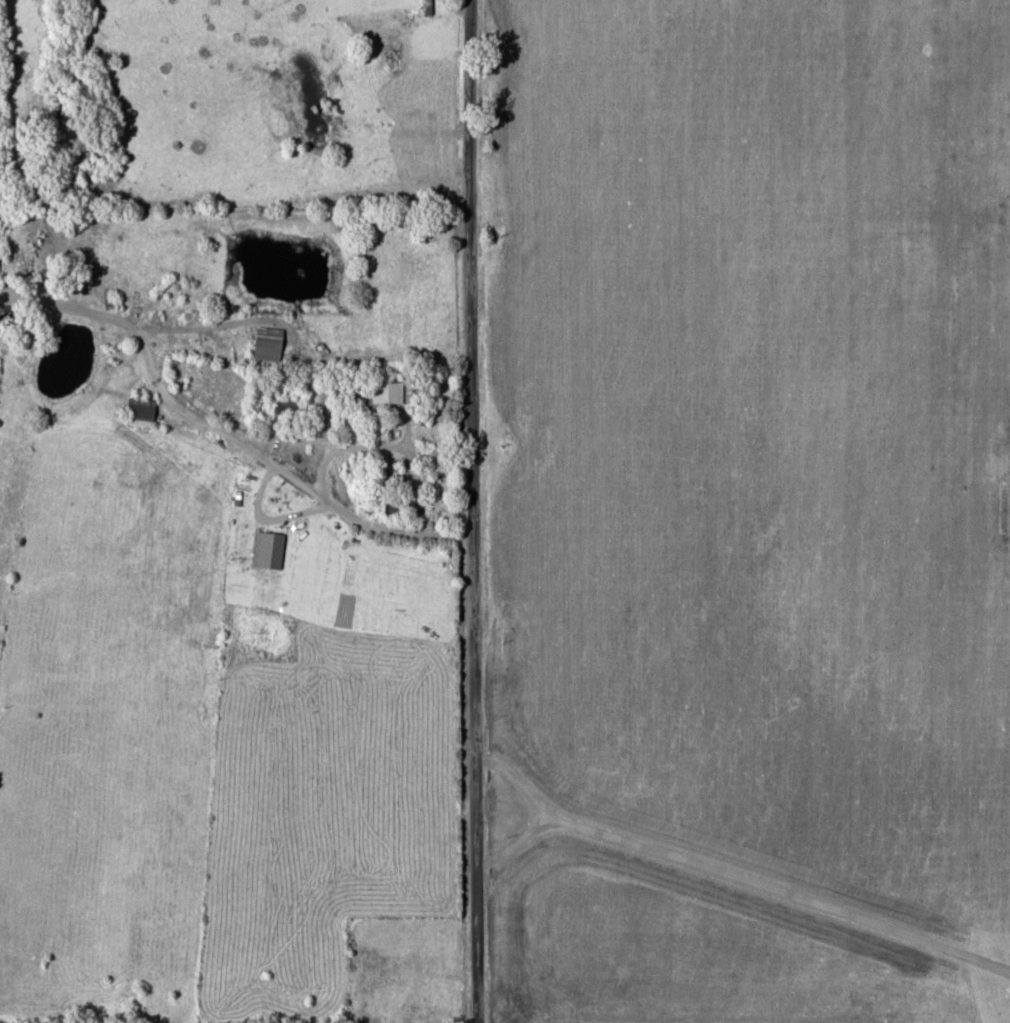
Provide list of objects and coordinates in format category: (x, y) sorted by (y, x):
building: (428, 2)
building: (271, 343)
building: (387, 391)
building: (291, 410)
building: (142, 412)
building: (379, 431)
building: (402, 504)
road: (498, 511)

